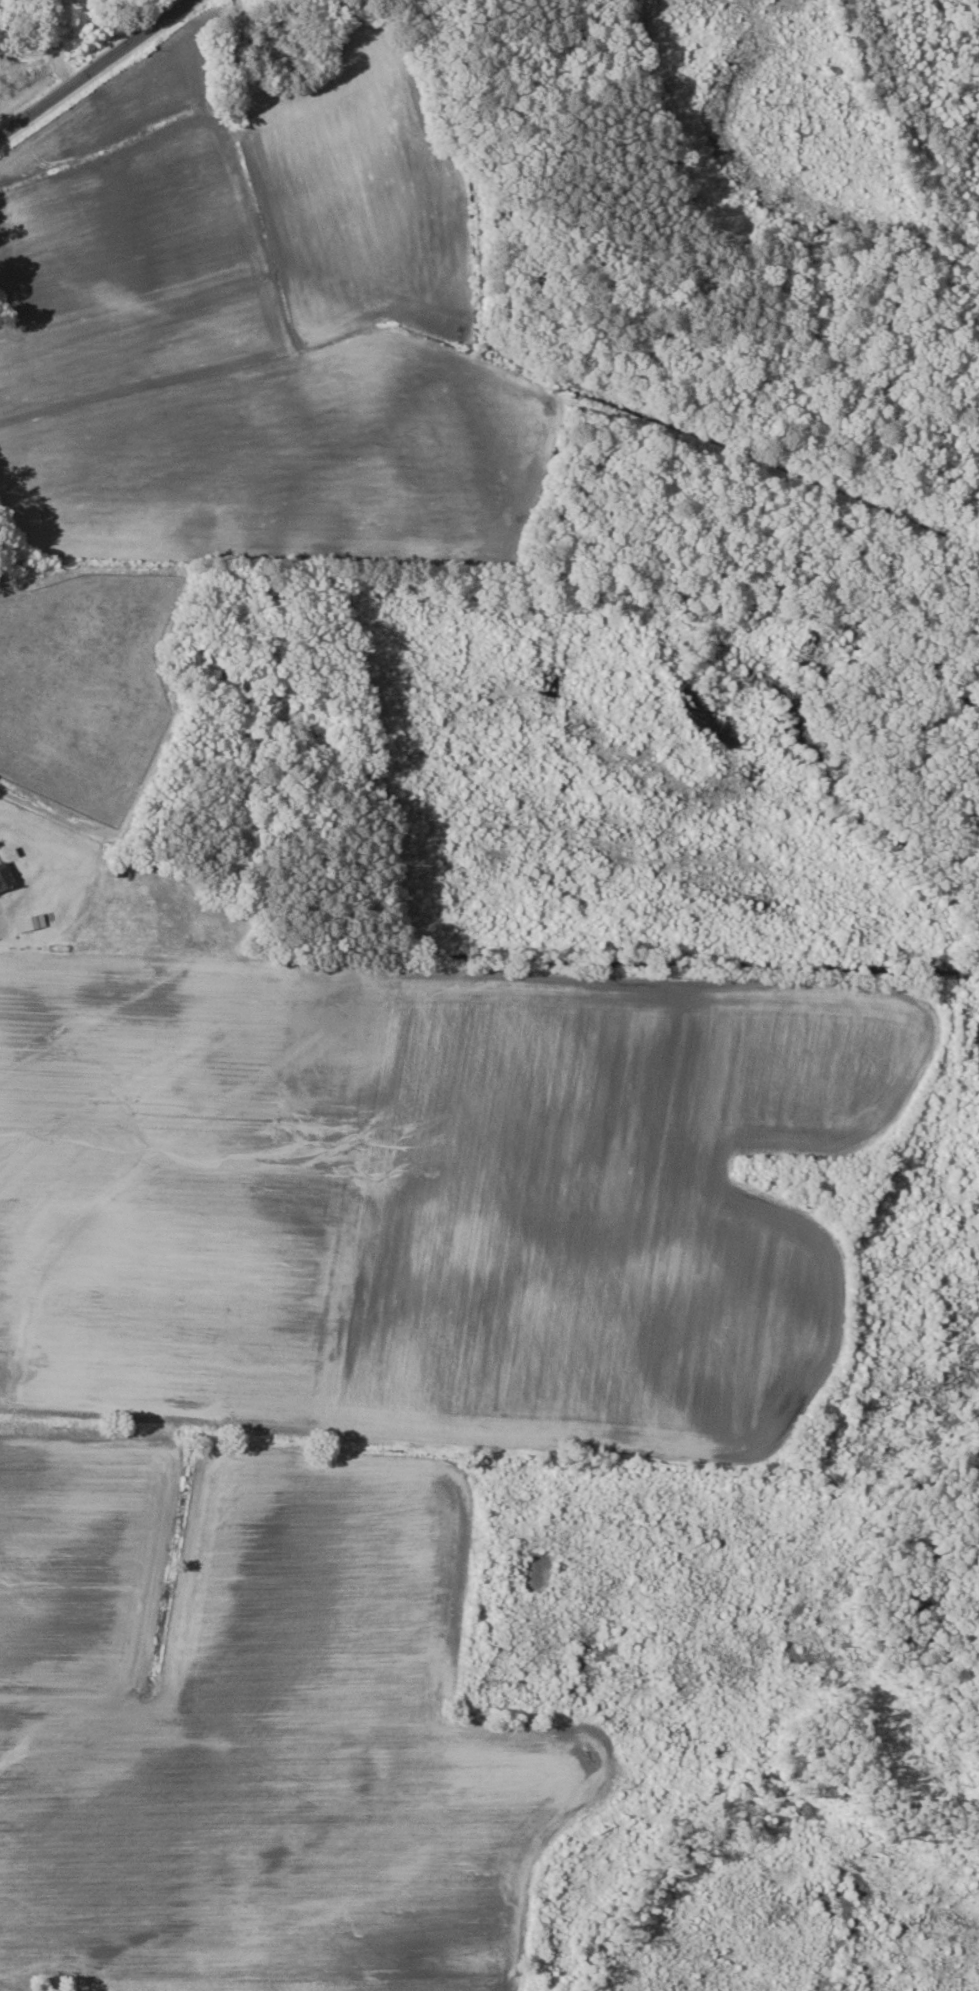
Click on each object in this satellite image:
road: (97, 69)
building: (6, 877)
building: (32, 922)

